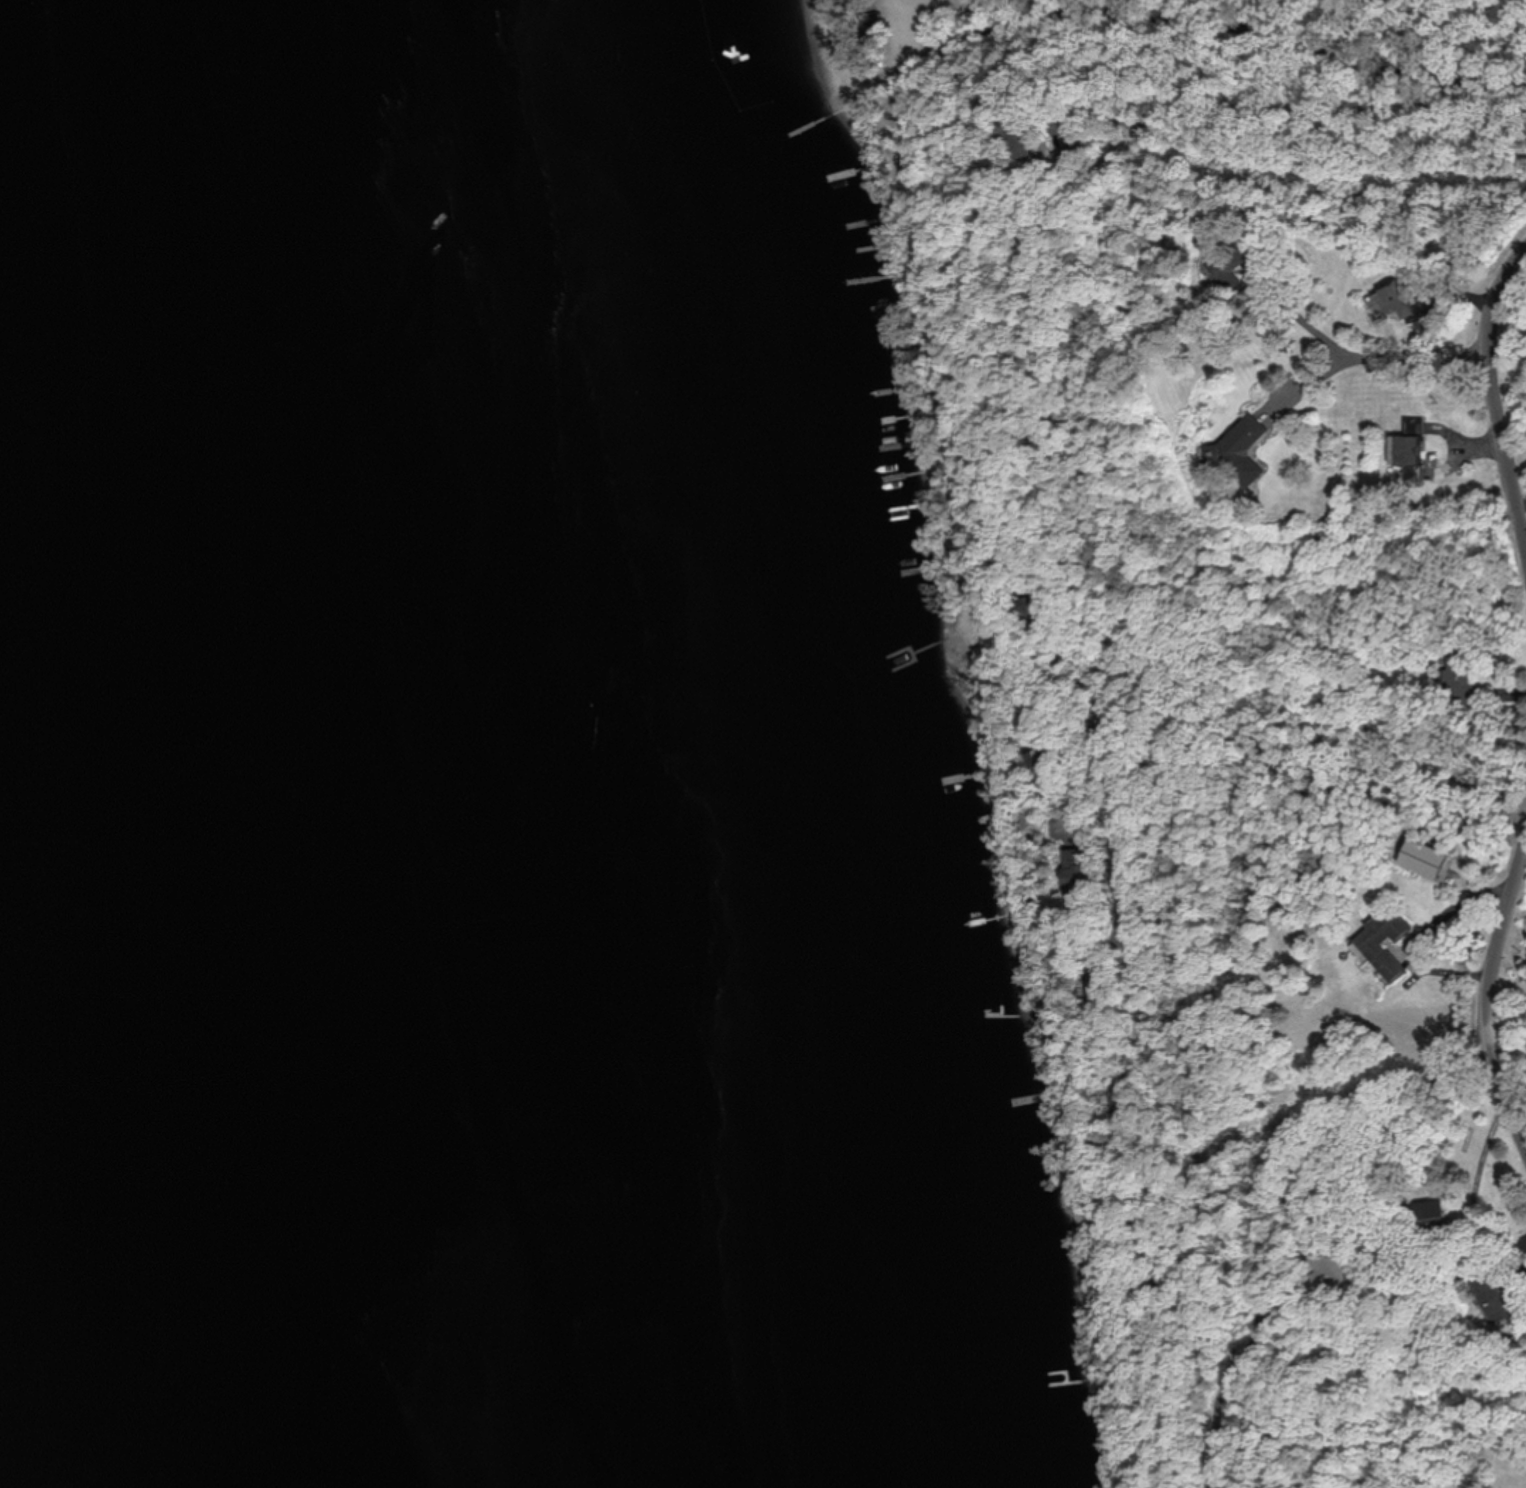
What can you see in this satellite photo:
road: (1237, 28)
building: (1030, 140)
building: (1067, 163)
building: (1403, 304)
road: (1372, 355)
road: (1311, 386)
road: (1499, 388)
building: (1243, 448)
building: (1412, 453)
road: (1078, 568)
building: (1039, 614)
building: (1465, 670)
river: (338, 744)
building: (1053, 759)
building: (1430, 860)
building: (1085, 882)
building: (1388, 943)
building: (1109, 982)
road: (1510, 984)
road: (1494, 1004)
building: (1130, 1105)
road: (1345, 1139)
building: (1161, 1191)
building: (1333, 1269)
road: (1274, 1310)

